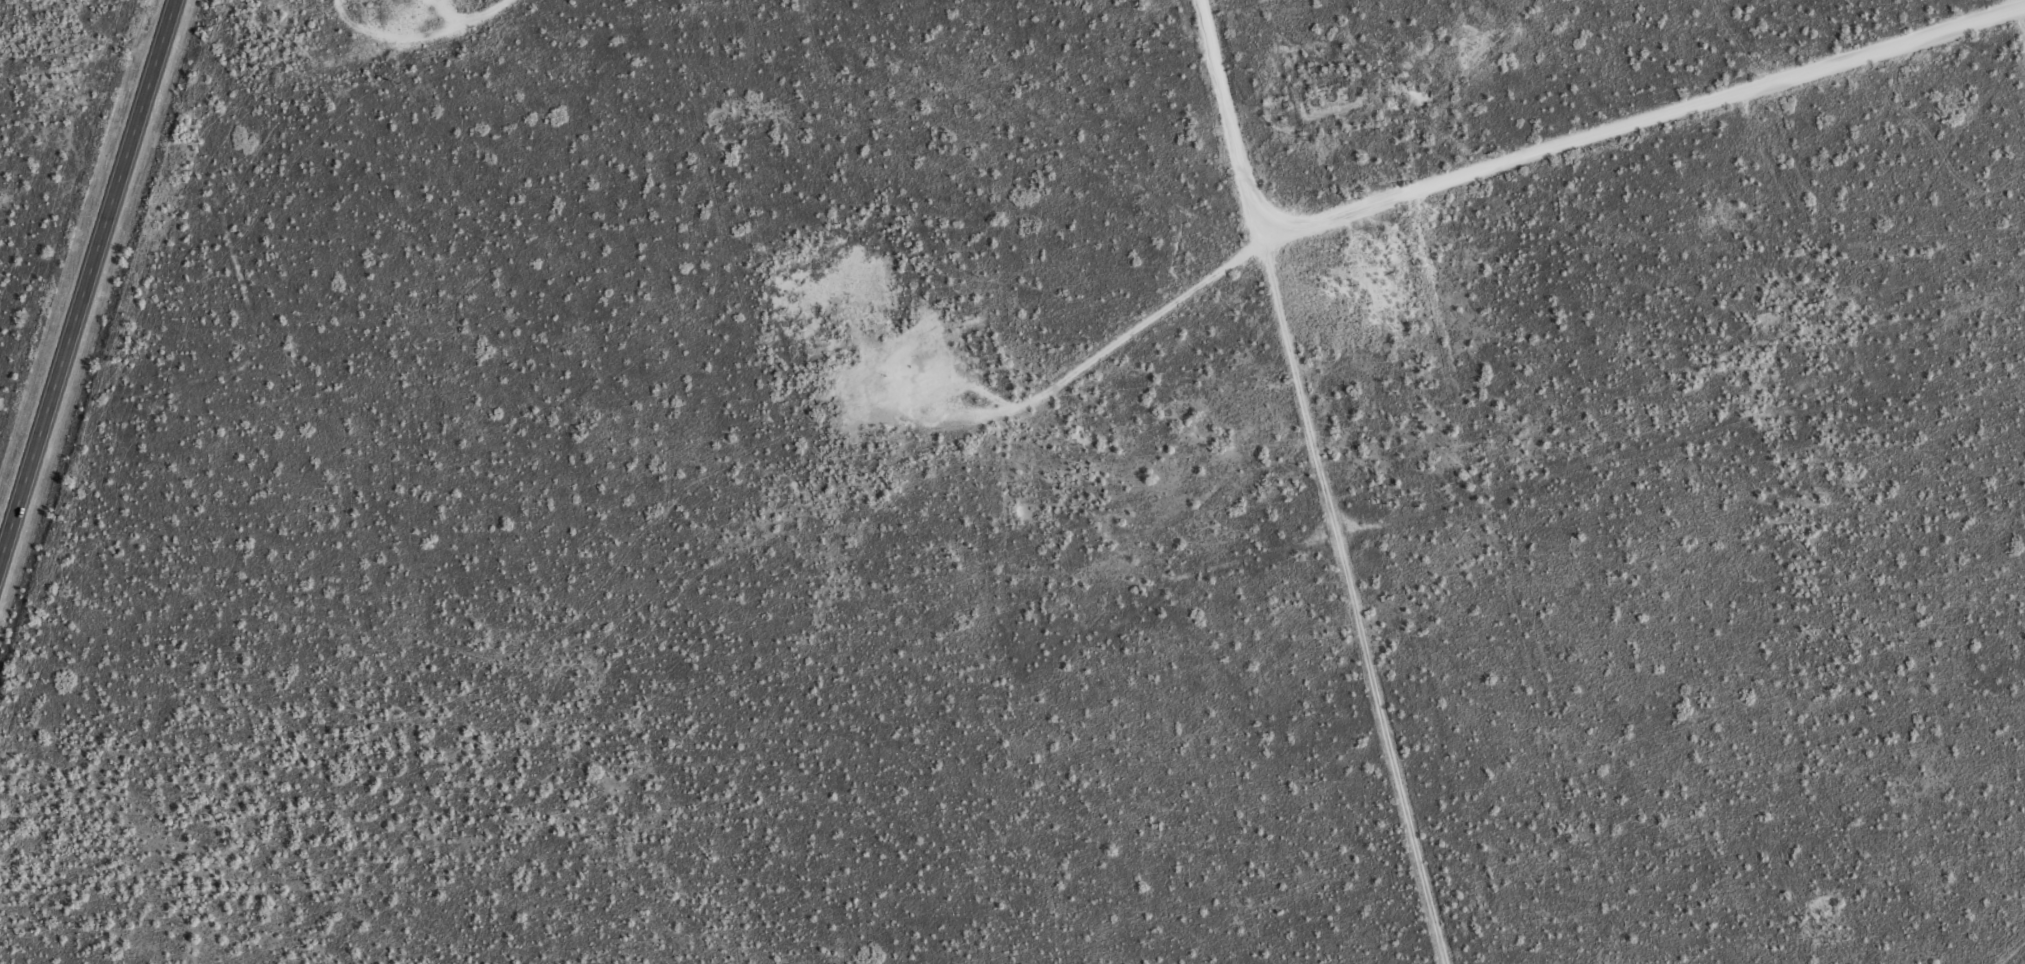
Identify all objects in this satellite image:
road: (86, 279)

